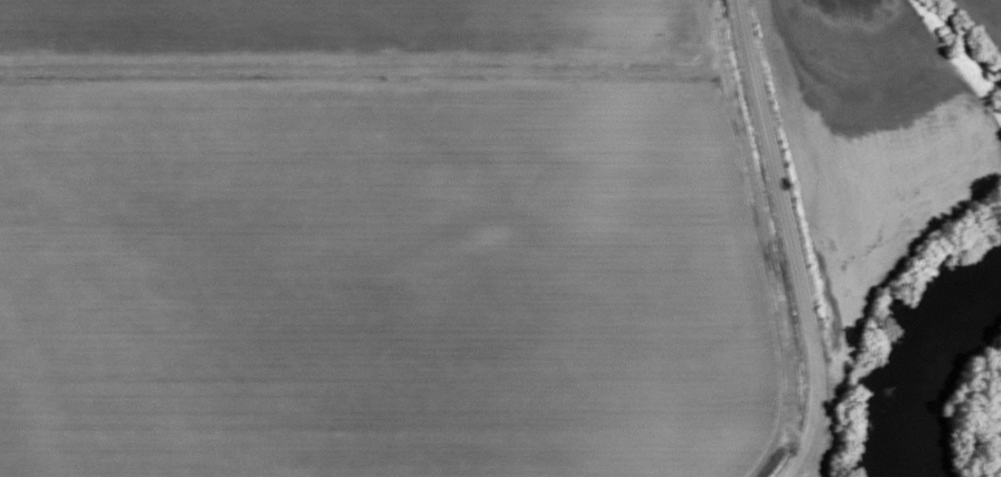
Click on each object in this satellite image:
road: (784, 236)
river: (927, 364)

